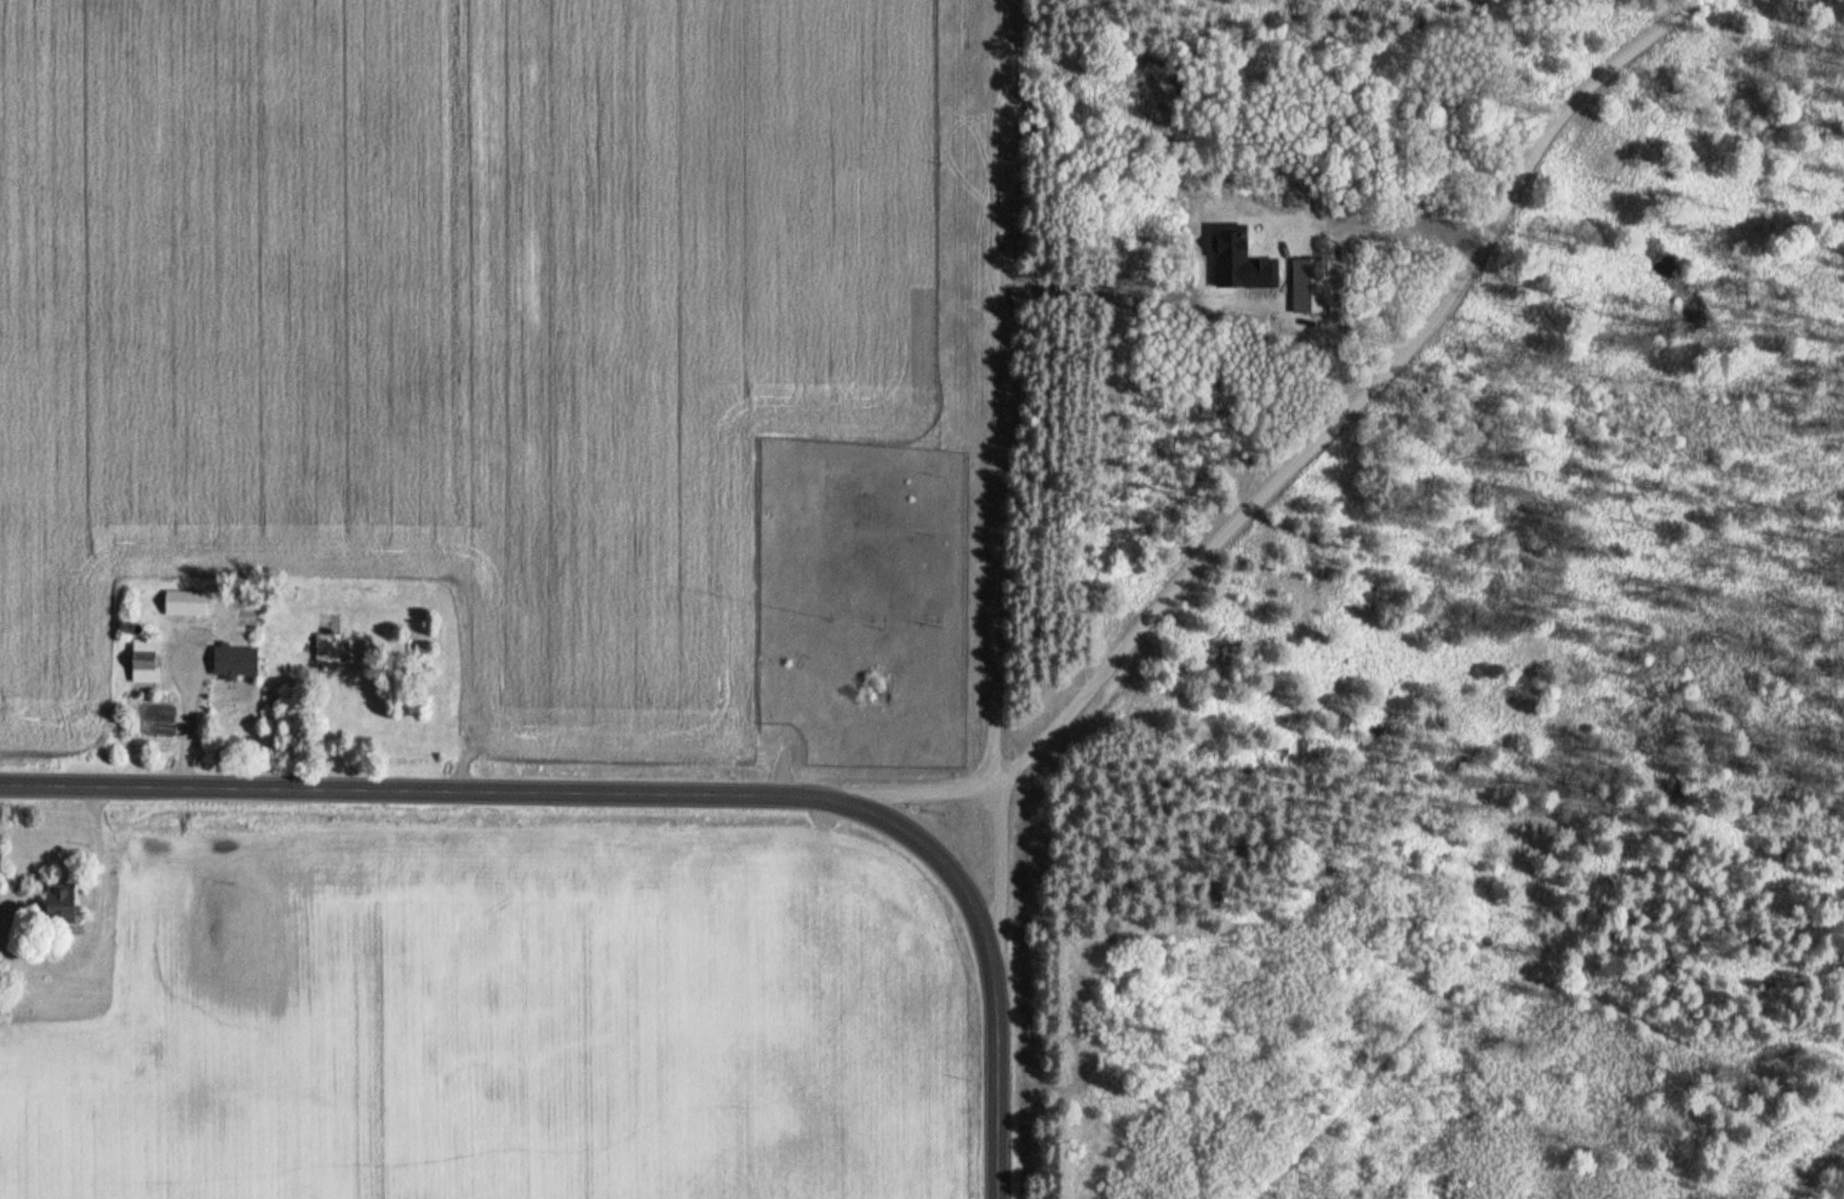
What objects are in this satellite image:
road: (1358, 396)
road: (1003, 487)
building: (185, 603)
building: (328, 648)
building: (145, 661)
building: (235, 661)
road: (405, 790)
road: (904, 791)
road: (930, 856)
building: (59, 902)
road: (995, 1086)
road: (1816, 1169)

